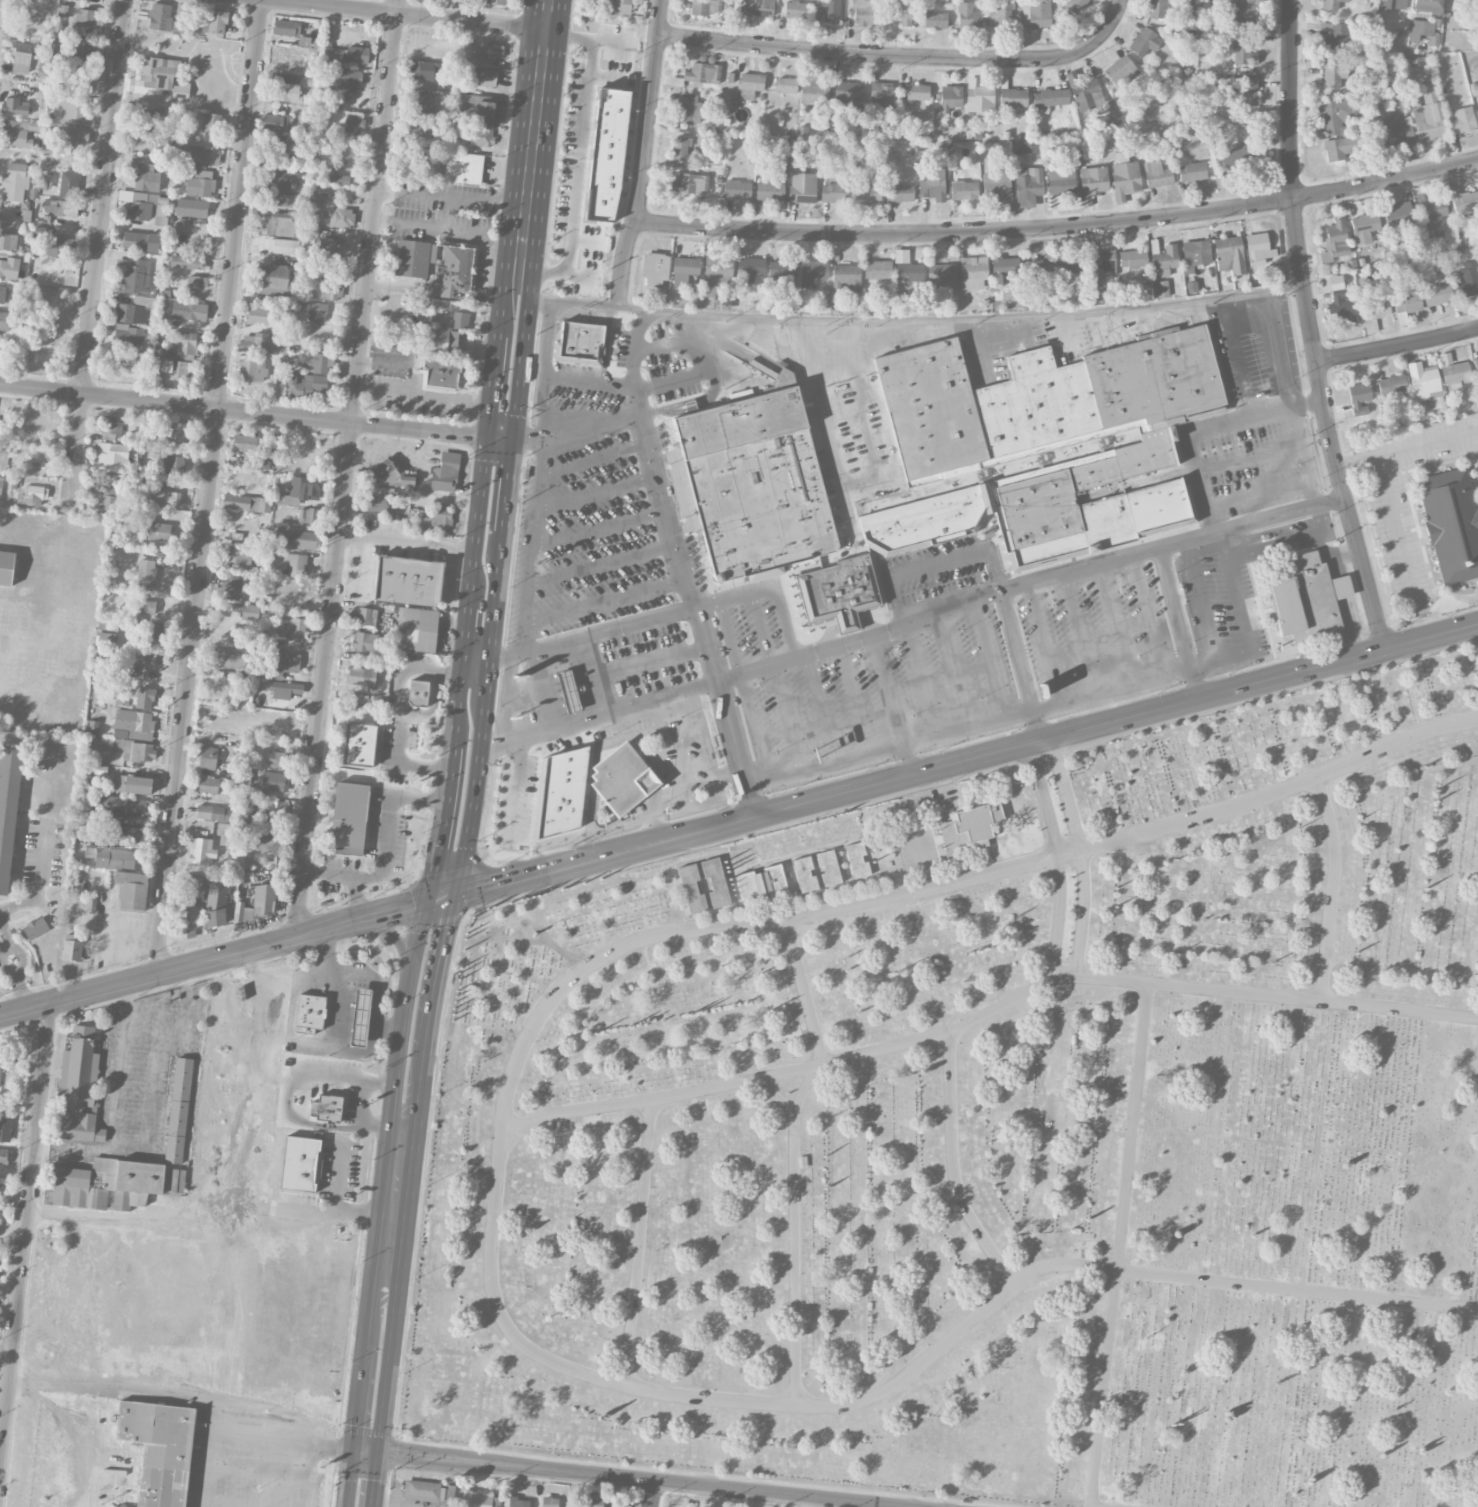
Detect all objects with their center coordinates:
building: (493, 1)
building: (1331, 4)
building: (1392, 4)
building: (621, 6)
building: (709, 6)
building: (899, 6)
building: (1076, 6)
building: (1427, 6)
building: (1160, 7)
building: (796, 9)
building: (830, 10)
building: (863, 12)
building: (1241, 12)
building: (999, 13)
building: (1036, 13)
road: (420, 14)
building: (1192, 14)
building: (160, 16)
building: (968, 16)
building: (935, 19)
building: (83, 21)
building: (214, 21)
building: (178, 27)
building: (286, 28)
building: (1425, 34)
building: (1334, 35)
building: (1145, 41)
building: (495, 50)
building: (79, 51)
building: (1243, 52)
building: (357, 54)
building: (22, 55)
building: (334, 55)
road: (903, 57)
building: (426, 70)
building: (1121, 71)
building: (159, 72)
building: (702, 73)
building: (1333, 74)
building: (483, 76)
building: (348, 79)
building: (78, 80)
building: (749, 85)
building: (785, 85)
building: (287, 88)
building: (814, 90)
building: (1084, 91)
building: (1245, 91)
building: (917, 93)
building: (848, 95)
building: (882, 95)
building: (950, 97)
building: (979, 98)
building: (1050, 98)
building: (1013, 99)
building: (423, 104)
building: (15, 106)
building: (691, 108)
building: (72, 110)
building: (475, 110)
building: (1477, 110)
building: (1428, 116)
building: (1461, 120)
building: (353, 121)
building: (149, 122)
building: (275, 122)
building: (213, 124)
building: (1339, 128)
building: (418, 130)
building: (21, 132)
building: (1394, 132)
building: (73, 136)
building: (481, 137)
building: (283, 146)
building: (1021, 147)
road: (532, 148)
building: (681, 148)
road: (580, 154)
road: (643, 154)
building: (197, 155)
building: (606, 155)
building: (1239, 155)
building: (463, 168)
building: (1192, 172)
building: (1157, 174)
building: (332, 176)
building: (146, 177)
building: (281, 178)
building: (15, 181)
building: (1060, 181)
building: (69, 183)
building: (690, 183)
building: (1092, 183)
building: (200, 184)
building: (931, 184)
building: (996, 186)
building: (1028, 186)
building: (737, 189)
building: (769, 189)
building: (865, 190)
building: (963, 191)
building: (834, 193)
building: (899, 193)
road: (451, 196)
building: (313, 198)
building: (284, 199)
building: (1463, 201)
building: (143, 204)
building: (61, 207)
building: (191, 207)
building: (24, 210)
building: (1398, 216)
building: (341, 217)
building: (278, 223)
building: (1363, 224)
road: (448, 225)
road: (1059, 228)
building: (1336, 238)
building: (8, 241)
building: (140, 241)
road: (97, 246)
building: (283, 246)
building: (60, 248)
building: (330, 248)
building: (1257, 248)
road: (1299, 249)
building: (1194, 254)
building: (1230, 254)
building: (412, 258)
building: (1132, 258)
building: (1164, 261)
building: (186, 262)
building: (1069, 264)
building: (1005, 266)
building: (9, 267)
building: (1037, 267)
building: (655, 268)
building: (718, 268)
building: (749, 268)
building: (877, 269)
building: (684, 270)
building: (782, 270)
building: (811, 270)
building: (455, 272)
building: (972, 272)
building: (941, 273)
building: (134, 275)
building: (275, 277)
building: (846, 277)
building: (909, 278)
building: (1468, 279)
building: (197, 281)
road: (1290, 286)
road: (401, 287)
building: (1161, 289)
building: (707, 290)
building: (331, 291)
building: (2, 294)
building: (1438, 294)
road: (534, 300)
building: (1406, 302)
building: (1375, 303)
road: (585, 305)
building: (1341, 305)
building: (187, 310)
building: (317, 311)
building: (261, 312)
building: (133, 314)
road: (948, 318)
building: (460, 320)
building: (5, 321)
road: (1065, 330)
building: (128, 337)
building: (443, 342)
building: (257, 343)
building: (579, 343)
road: (1397, 344)
road: (997, 345)
building: (162, 352)
road: (1241, 356)
building: (3, 357)
road: (382, 358)
building: (320, 361)
building: (1476, 366)
building: (175, 369)
building: (252, 370)
road: (545, 370)
building: (442, 374)
building: (1456, 374)
road: (589, 380)
building: (1425, 384)
building: (304, 385)
building: (1391, 385)
road: (430, 395)
road: (1295, 396)
building: (1359, 398)
road: (1310, 404)
road: (251, 411)
road: (590, 427)
building: (112, 428)
building: (173, 431)
road: (1194, 433)
traffic signals: (502, 439)
road: (521, 439)
building: (1042, 442)
building: (244, 443)
road: (1429, 443)
building: (111, 456)
road: (592, 457)
road: (649, 458)
road: (1252, 458)
building: (173, 464)
road: (1359, 464)
road: (346, 466)
building: (445, 472)
building: (390, 475)
road: (498, 475)
building: (1, 482)
building: (752, 483)
road: (854, 484)
road: (208, 487)
building: (305, 488)
road: (430, 492)
road: (595, 492)
road: (1261, 493)
building: (32, 496)
building: (164, 498)
building: (380, 499)
road: (1330, 500)
building: (107, 501)
building: (247, 503)
building: (434, 519)
building: (1451, 523)
road: (1236, 525)
road: (598, 527)
road: (1397, 527)
building: (300, 529)
building: (159, 531)
road: (1260, 536)
road: (1308, 539)
road: (414, 540)
road: (532, 546)
road: (1322, 548)
road: (1261, 550)
building: (238, 556)
road: (936, 563)
road: (601, 564)
building: (295, 565)
building: (6, 567)
road: (1366, 572)
building: (145, 574)
building: (408, 580)
building: (230, 588)
road: (1235, 590)
building: (294, 595)
road: (734, 597)
building: (1307, 598)
road: (604, 601)
building: (146, 607)
road: (1173, 608)
road: (936, 610)
building: (247, 611)
road: (1146, 615)
building: (371, 617)
building: (108, 624)
road: (1112, 625)
building: (292, 628)
building: (416, 629)
building: (155, 631)
road: (1077, 634)
road: (590, 636)
road: (1432, 636)
building: (106, 637)
building: (365, 642)
road: (1044, 643)
building: (228, 658)
road: (989, 658)
road: (1220, 659)
building: (151, 661)
road: (478, 662)
road: (649, 663)
road: (1021, 664)
building: (278, 665)
road: (405, 668)
road: (954, 668)
building: (361, 676)
road: (589, 678)
road: (918, 679)
road: (1193, 684)
road: (885, 688)
building: (284, 689)
building: (566, 690)
gas station: (566, 690)
building: (223, 691)
road: (540, 692)
building: (417, 693)
building: (143, 697)
road: (854, 697)
road: (633, 706)
road: (819, 707)
road: (458, 710)
road: (480, 710)
road: (786, 717)
building: (133, 724)
road: (967, 727)
road: (752, 728)
road: (1069, 731)
road: (731, 733)
road: (512, 740)
building: (359, 744)
road: (704, 747)
building: (136, 750)
building: (208, 758)
building: (278, 759)
road: (905, 759)
road: (414, 765)
building: (622, 778)
building: (274, 781)
building: (132, 784)
building: (208, 785)
road: (516, 787)
road: (653, 790)
building: (560, 792)
road: (749, 799)
building: (120, 804)
building: (8, 806)
building: (272, 808)
building: (210, 813)
building: (127, 818)
building: (349, 818)
road: (468, 824)
building: (969, 825)
road: (442, 828)
road: (701, 829)
building: (124, 832)
building: (269, 840)
road: (385, 846)
building: (201, 851)
road: (1080, 853)
building: (111, 857)
road: (1057, 857)
building: (259, 860)
building: (857, 860)
building: (828, 867)
road: (551, 869)
building: (804, 874)
road: (40, 879)
building: (715, 882)
building: (761, 884)
road: (1330, 886)
building: (690, 889)
building: (131, 890)
traffic signals: (453, 895)
building: (264, 897)
road: (356, 897)
road: (440, 897)
traffic signals: (428, 900)
building: (191, 902)
building: (214, 918)
building: (35, 927)
building: (71, 947)
road: (214, 958)
road: (413, 963)
road: (435, 967)
road: (16, 969)
road: (374, 980)
road: (256, 982)
road: (184, 983)
road: (803, 990)
road: (127, 996)
building: (310, 1012)
road: (986, 1013)
building: (360, 1016)
road: (291, 1021)
road: (387, 1025)
road: (118, 1073)
road: (153, 1079)
road: (393, 1079)
road: (420, 1087)
road: (804, 1087)
building: (79, 1088)
road: (772, 1094)
road: (362, 1106)
building: (330, 1108)
building: (178, 1109)
building: (5, 1129)
park: (997, 1132)
road: (85, 1148)
building: (3, 1155)
building: (301, 1163)
road: (951, 1167)
building: (176, 1181)
building: (105, 1183)
building: (2, 1184)
road: (496, 1186)
road: (206, 1194)
road: (335, 1201)
building: (0, 1216)
road: (25, 1231)
road: (638, 1242)
road: (1118, 1244)
road: (793, 1258)
road: (383, 1290)
road: (195, 1303)
road: (6, 1351)
road: (132, 1385)
road: (253, 1437)
building: (157, 1448)
traffic signals: (368, 1452)
road: (300, 1475)
road: (638, 1477)
road: (364, 1479)
building: (427, 1491)
road: (653, 1493)
building: (479, 1500)
building: (594, 1500)
building: (549, 1501)
building: (515, 1502)
road: (1109, 1505)
building: (116, 1506)
building: (618, 1506)

